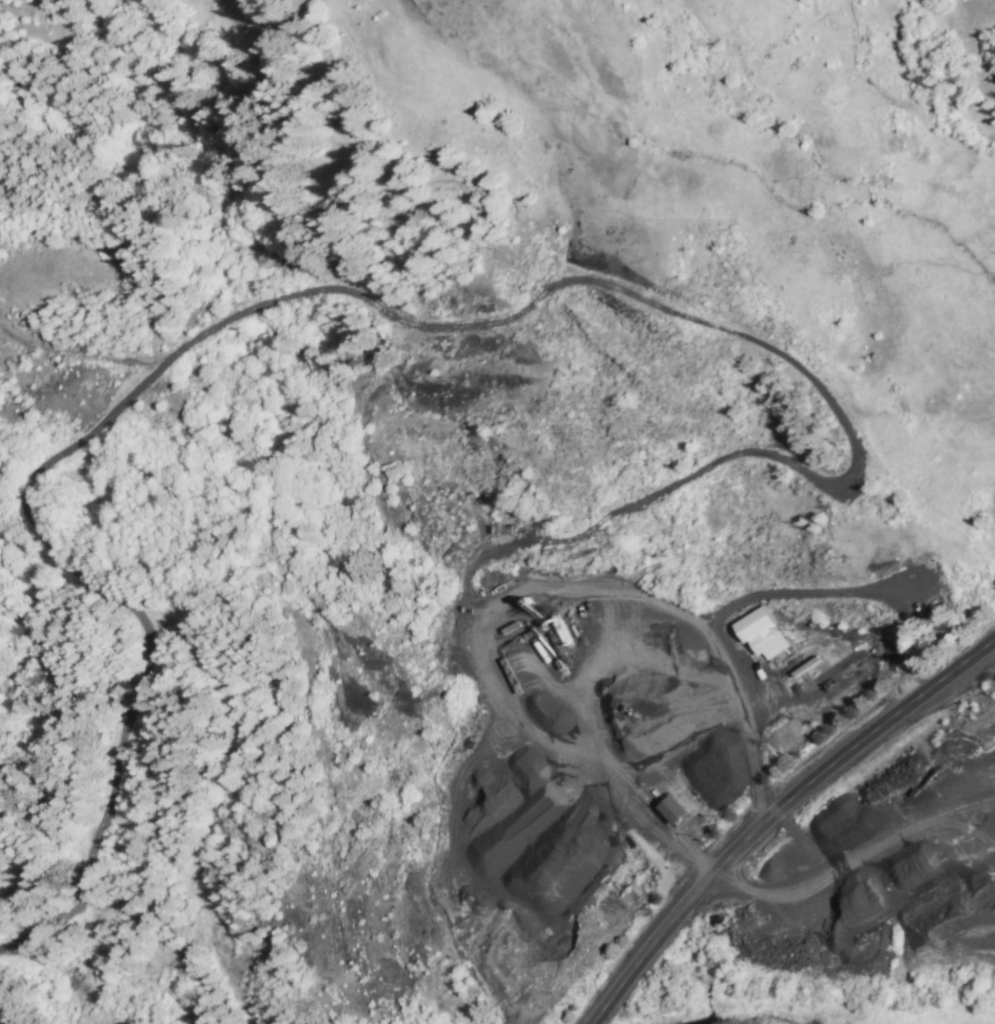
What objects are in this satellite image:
road: (519, 602)
building: (759, 633)
road: (847, 757)
building: (669, 809)
road: (650, 951)

